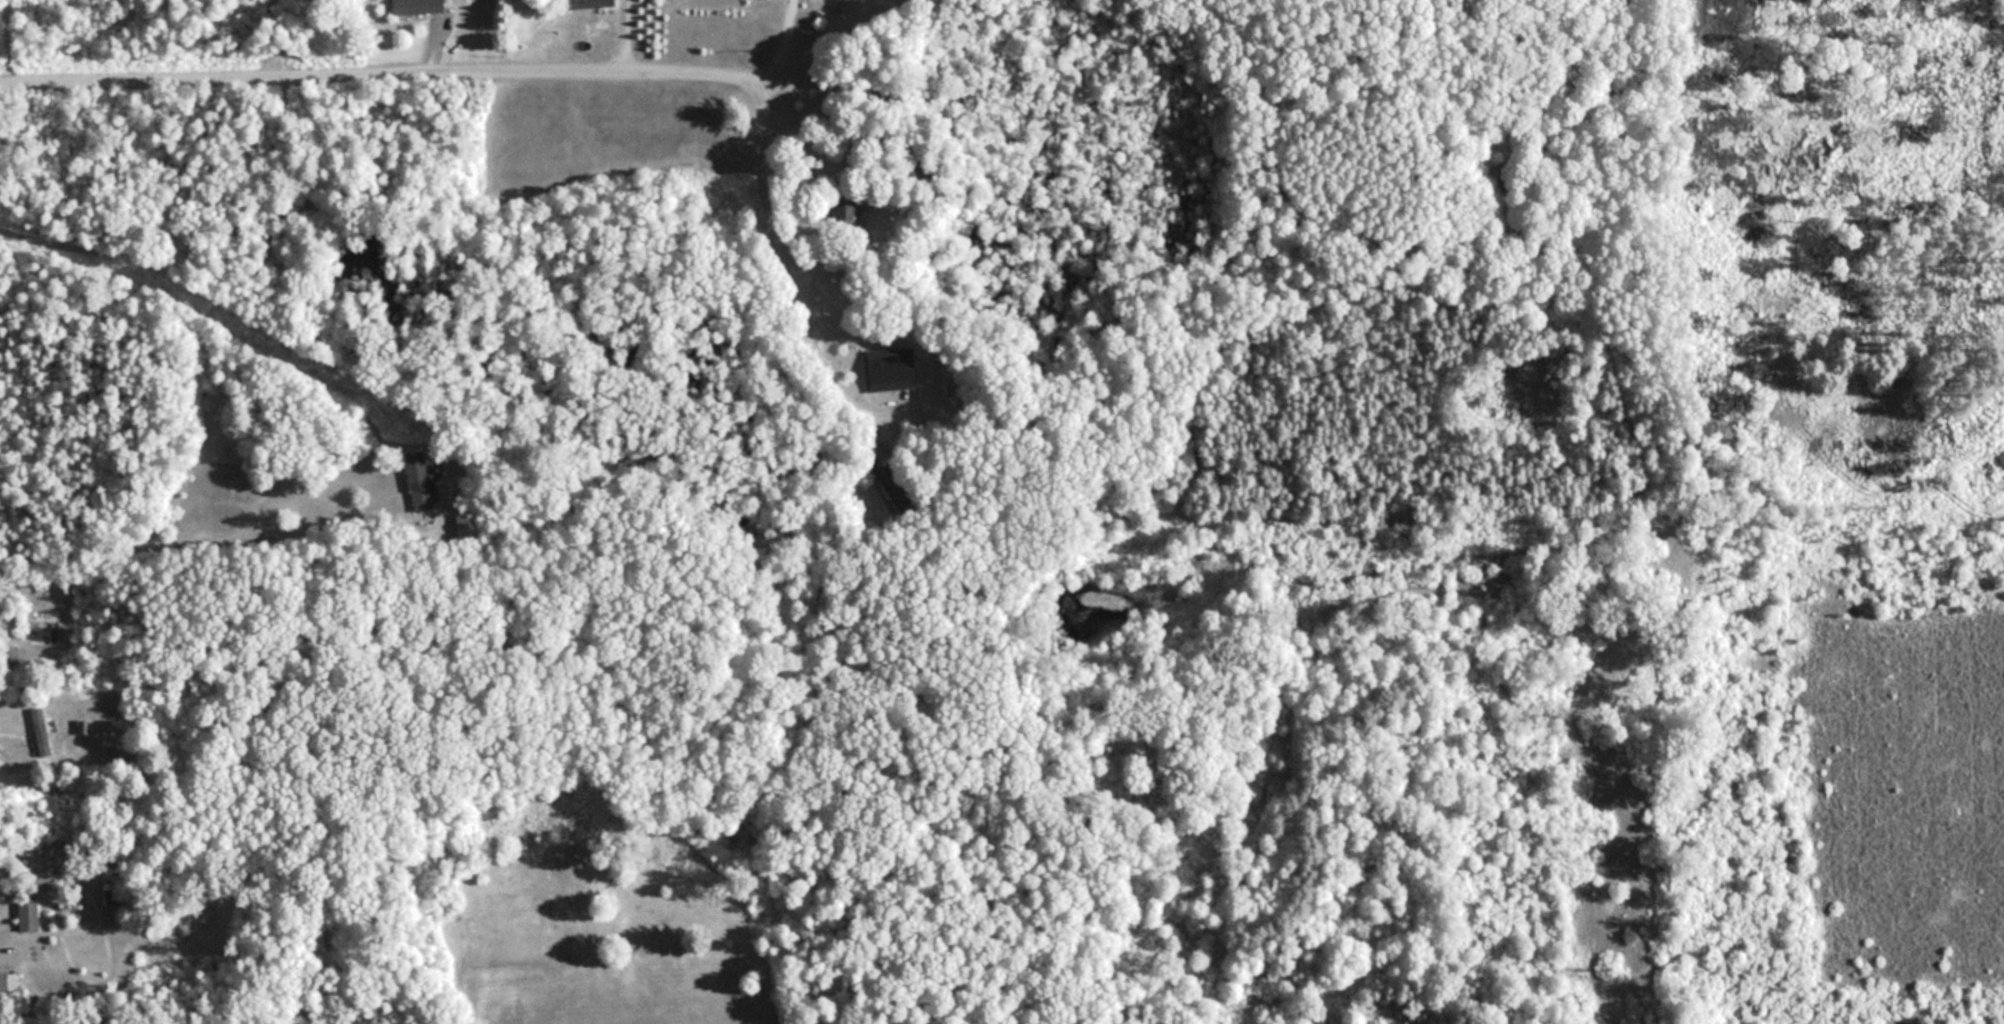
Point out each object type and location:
building: (604, 2)
building: (420, 6)
road: (625, 34)
road: (787, 37)
road: (408, 72)
road: (852, 334)
building: (891, 369)
building: (421, 482)
road: (200, 539)
park: (1488, 663)
building: (42, 732)
road: (6, 744)
building: (29, 916)
road: (3, 947)

